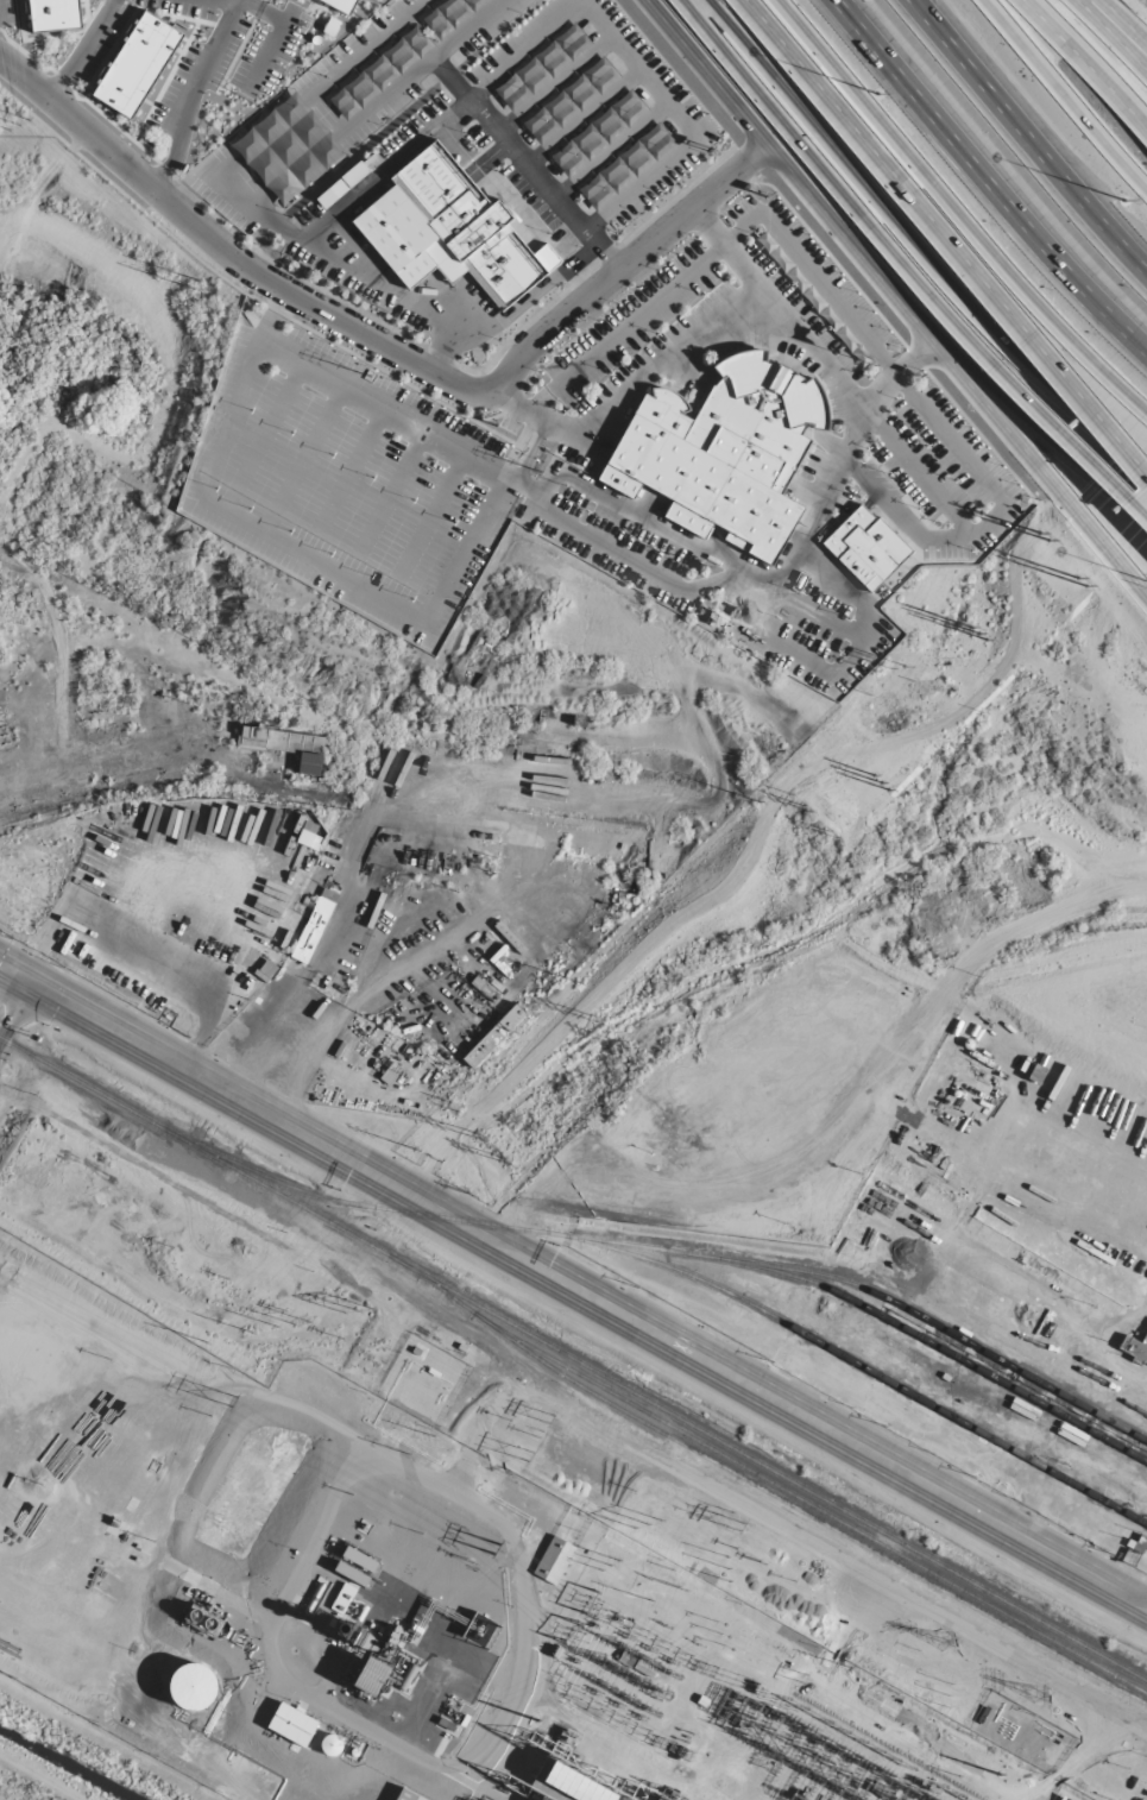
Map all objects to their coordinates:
building: (342, 5)
building: (53, 14)
building: (449, 14)
road: (1117, 24)
road: (1114, 33)
road: (1088, 61)
building: (137, 63)
building: (380, 71)
road: (638, 73)
road: (555, 84)
road: (1064, 95)
road: (768, 114)
road: (584, 120)
road: (1025, 141)
road: (510, 144)
building: (288, 149)
road: (611, 151)
road: (384, 168)
road: (789, 169)
road: (990, 182)
building: (341, 184)
road: (247, 207)
road: (953, 216)
building: (449, 229)
road: (945, 241)
road: (915, 245)
road: (226, 251)
road: (622, 264)
road: (363, 273)
road: (511, 310)
road: (806, 340)
road: (1008, 370)
road: (632, 384)
road: (1036, 434)
building: (724, 452)
road: (1040, 467)
building: (865, 547)
building: (285, 745)
building: (587, 842)
building: (582, 870)
building: (314, 925)
building: (534, 944)
traffic signals: (20, 980)
road: (10, 996)
building: (493, 1036)
road: (305, 1064)
railway: (679, 1252)
road: (573, 1288)
building: (1134, 1348)
railway: (573, 1361)
railway: (862, 1367)
power tower: (232, 1398)
railway: (774, 1498)
railway: (813, 1508)
road: (800, 1540)
power tower: (496, 1546)
building: (359, 1559)
building: (554, 1560)
power plant: (387, 1601)
building: (371, 1676)
building: (193, 1687)
building: (292, 1724)
building: (407, 1795)

